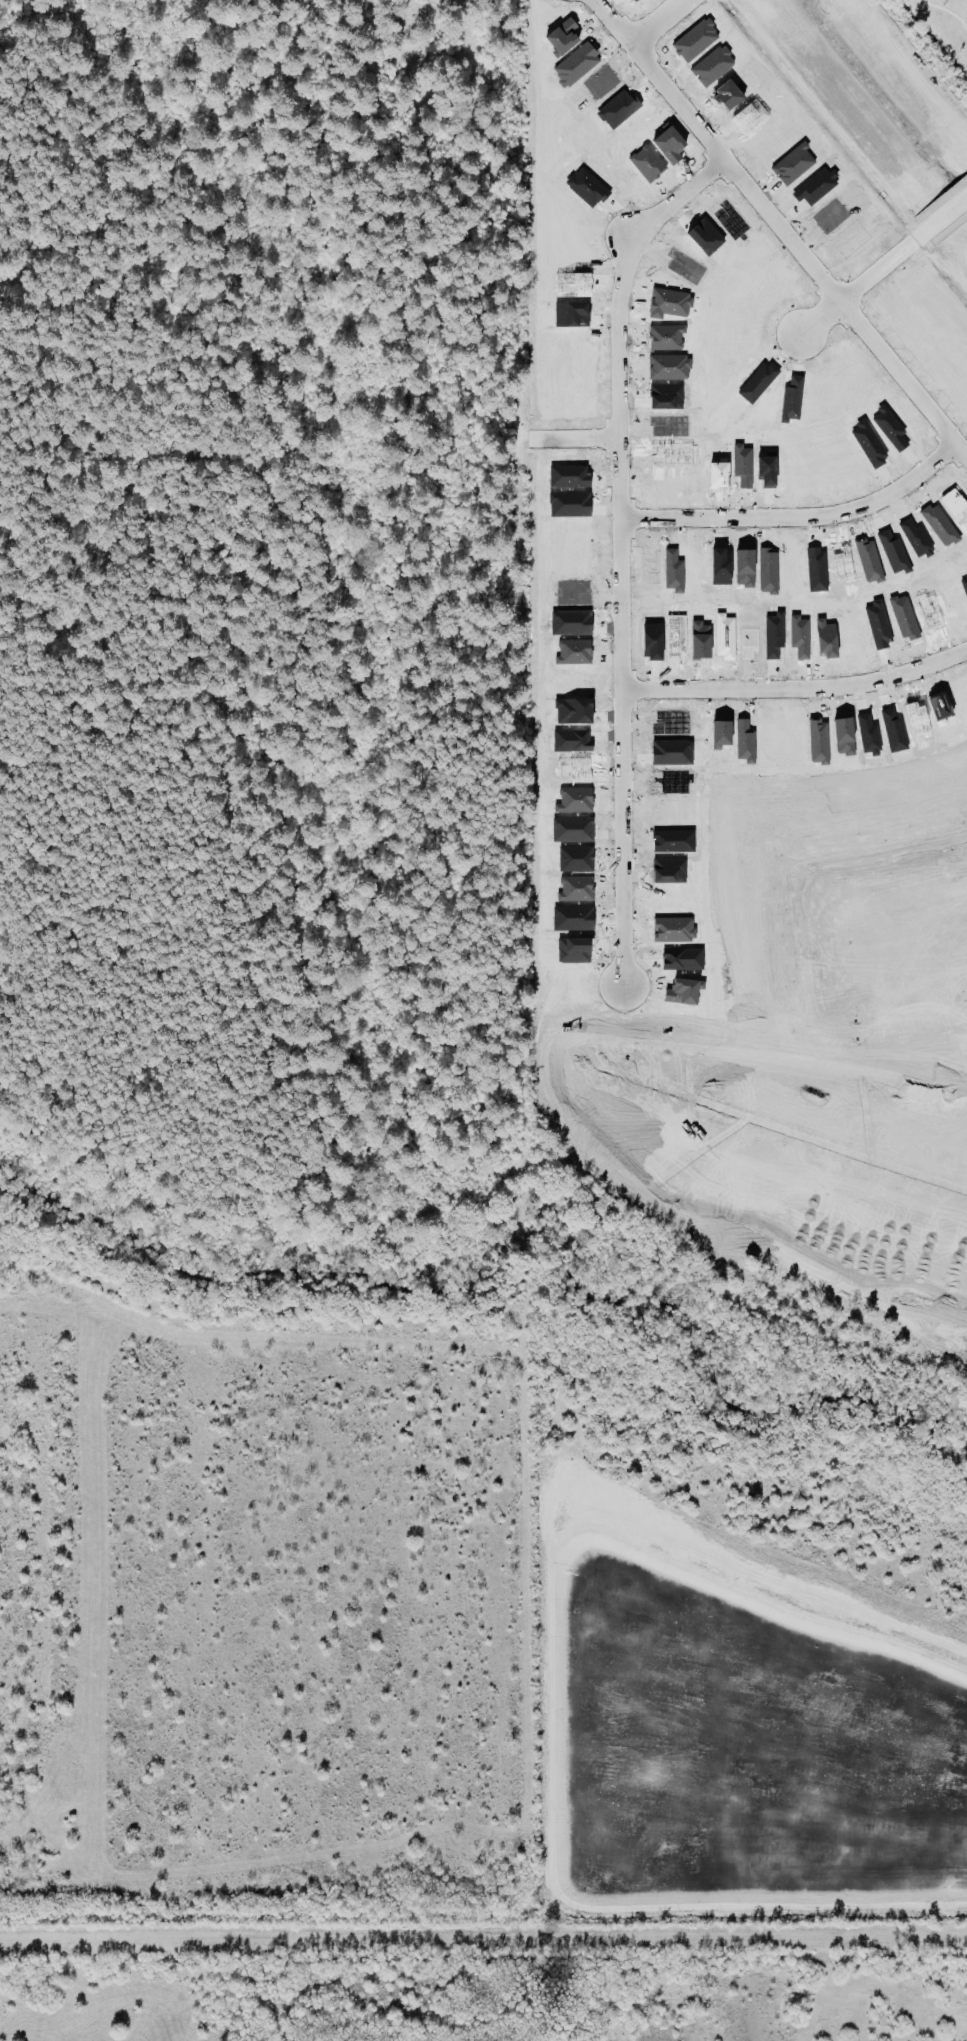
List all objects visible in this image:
road: (667, 23)
road: (783, 225)
road: (886, 266)
road: (578, 436)
road: (803, 517)
road: (625, 550)
road: (800, 689)
road: (800, 937)

